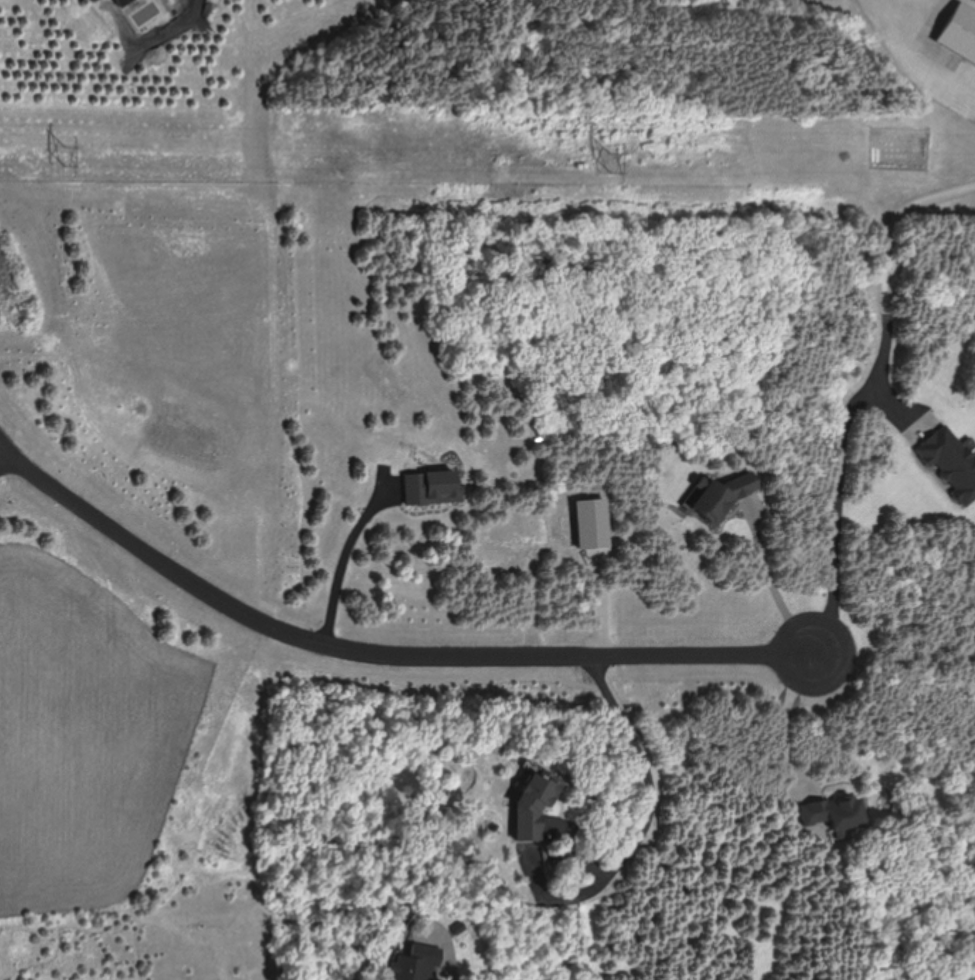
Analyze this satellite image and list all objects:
building: (960, 34)
road: (930, 51)
power tower: (613, 162)
power tower: (68, 163)
road: (857, 383)
road: (2, 452)
building: (952, 462)
building: (725, 495)
road: (335, 562)
road: (775, 583)
road: (378, 651)
road: (784, 709)
building: (534, 804)
road: (649, 808)
building: (837, 812)
building: (417, 962)

